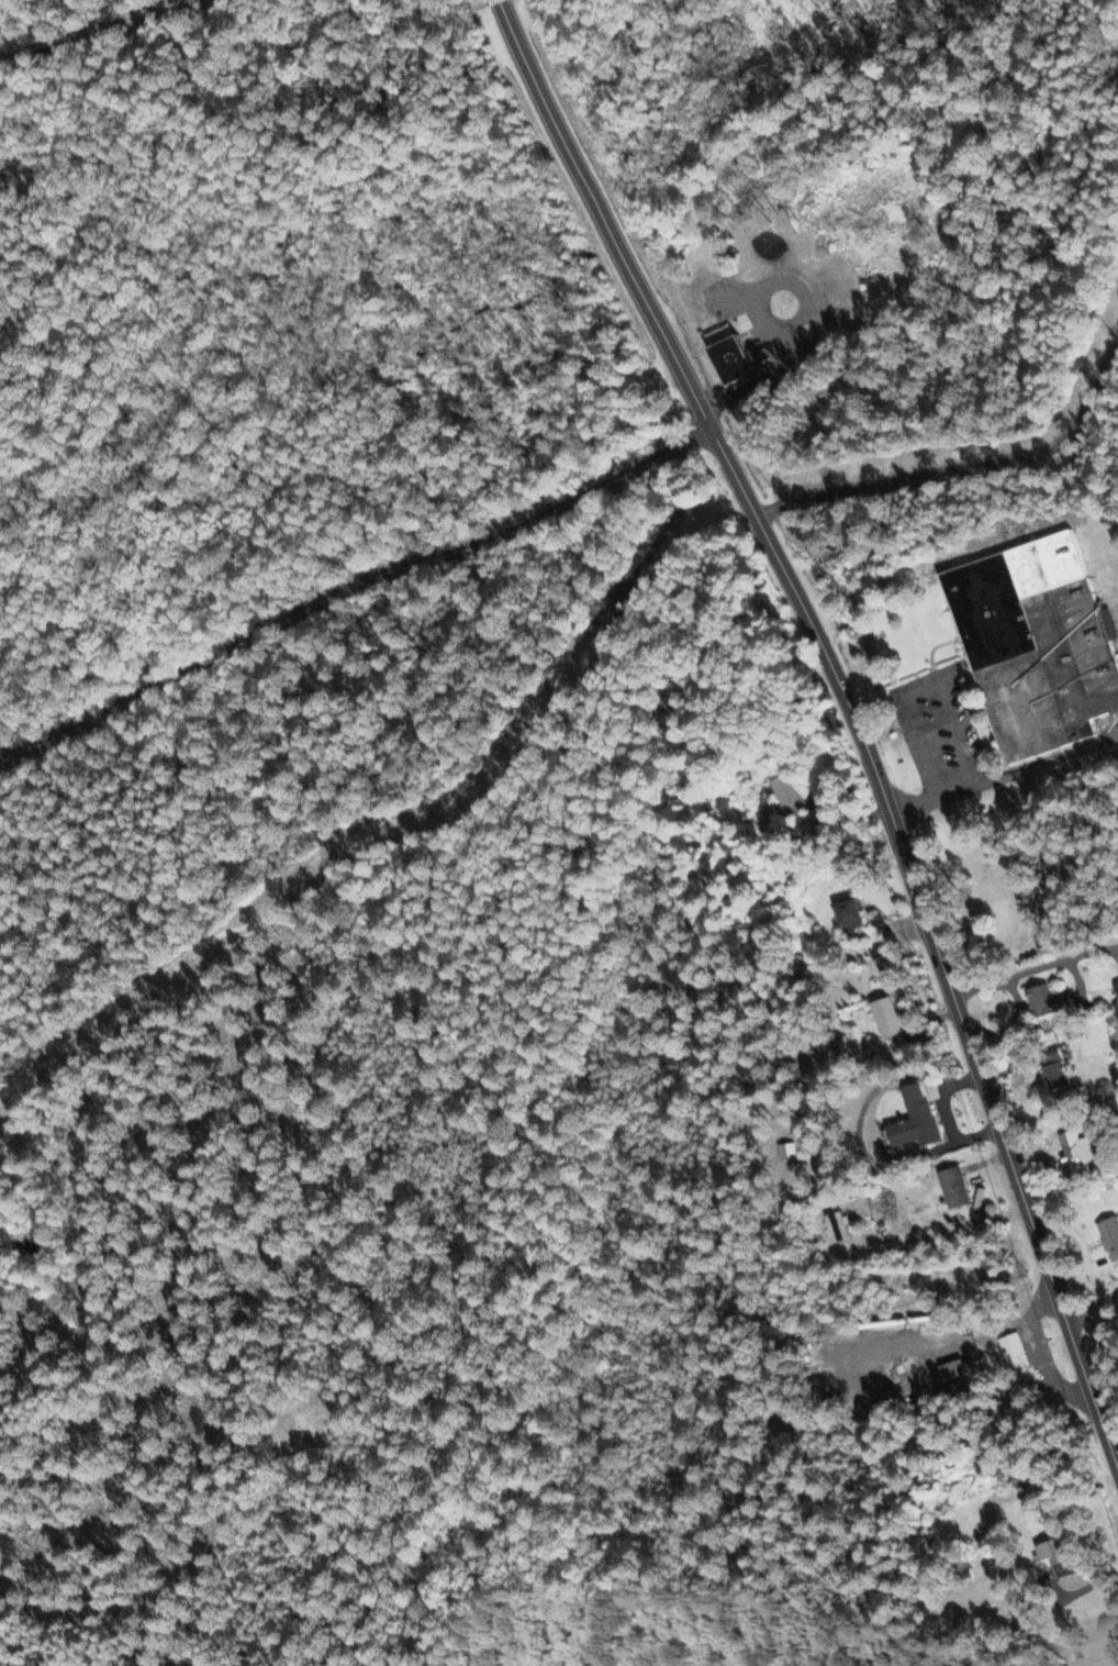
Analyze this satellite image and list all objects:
road: (548, 120)
road: (613, 247)
wastewater plant: (763, 354)
building: (740, 357)
wastewater plant: (783, 427)
park: (313, 445)
road: (350, 589)
road: (919, 687)
building: (794, 793)
road: (933, 800)
road: (898, 851)
building: (856, 911)
building: (1117, 979)
building: (1050, 1000)
building: (891, 1018)
building: (1058, 1074)
building: (931, 1089)
building: (1115, 1104)
building: (919, 1120)
building: (1080, 1152)
building: (958, 1187)
building: (841, 1224)
building: (1111, 1233)
building: (1016, 1350)
building: (957, 1366)
building: (1060, 1548)

